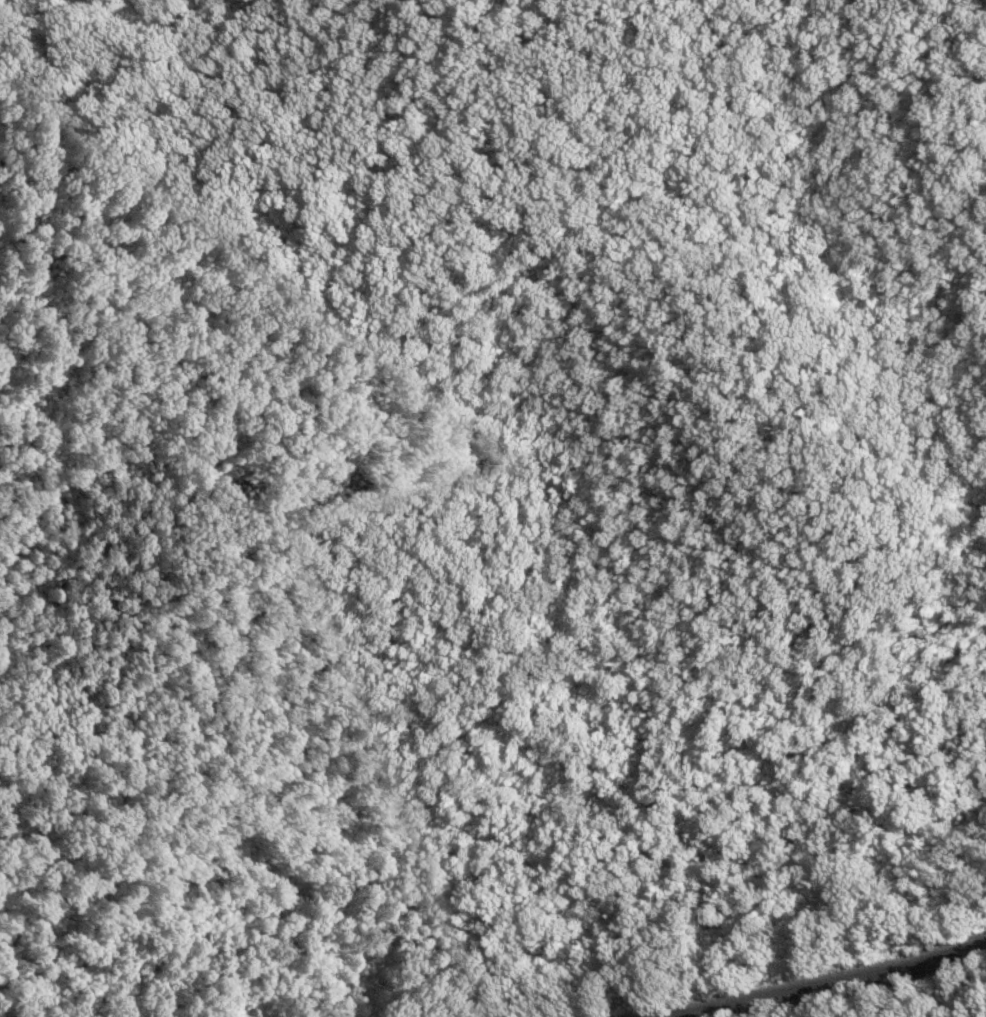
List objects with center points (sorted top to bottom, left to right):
railway: (840, 981)

